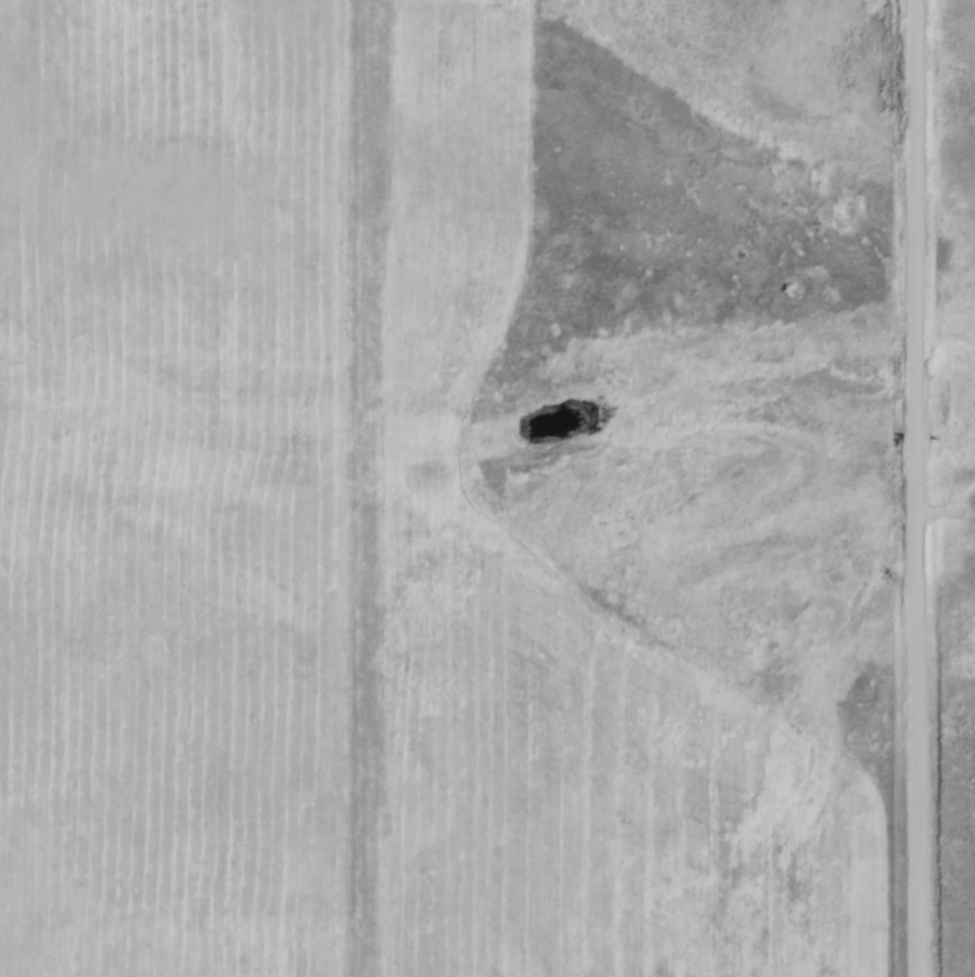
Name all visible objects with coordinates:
road: (918, 488)

